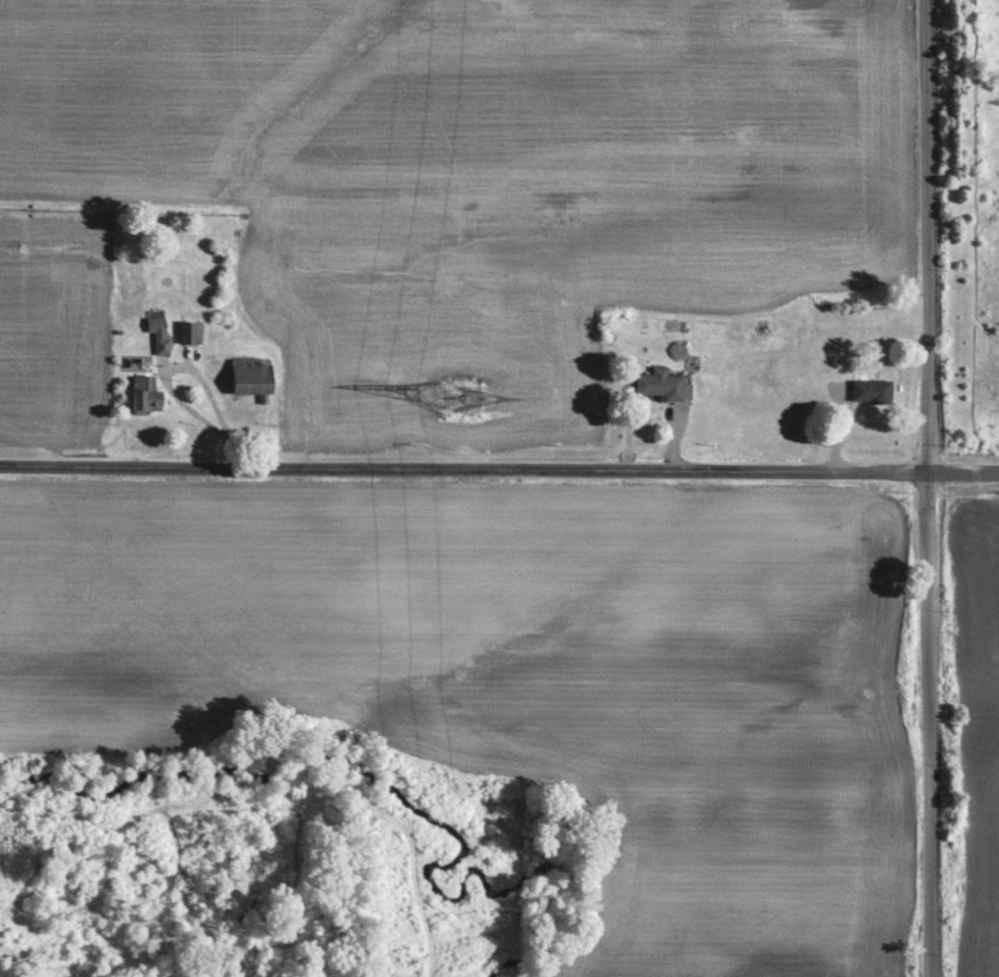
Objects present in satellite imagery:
building: (187, 332)
building: (157, 334)
road: (187, 369)
building: (250, 378)
building: (662, 384)
building: (867, 390)
building: (144, 394)
power tower: (464, 396)
road: (499, 470)
road: (932, 488)

